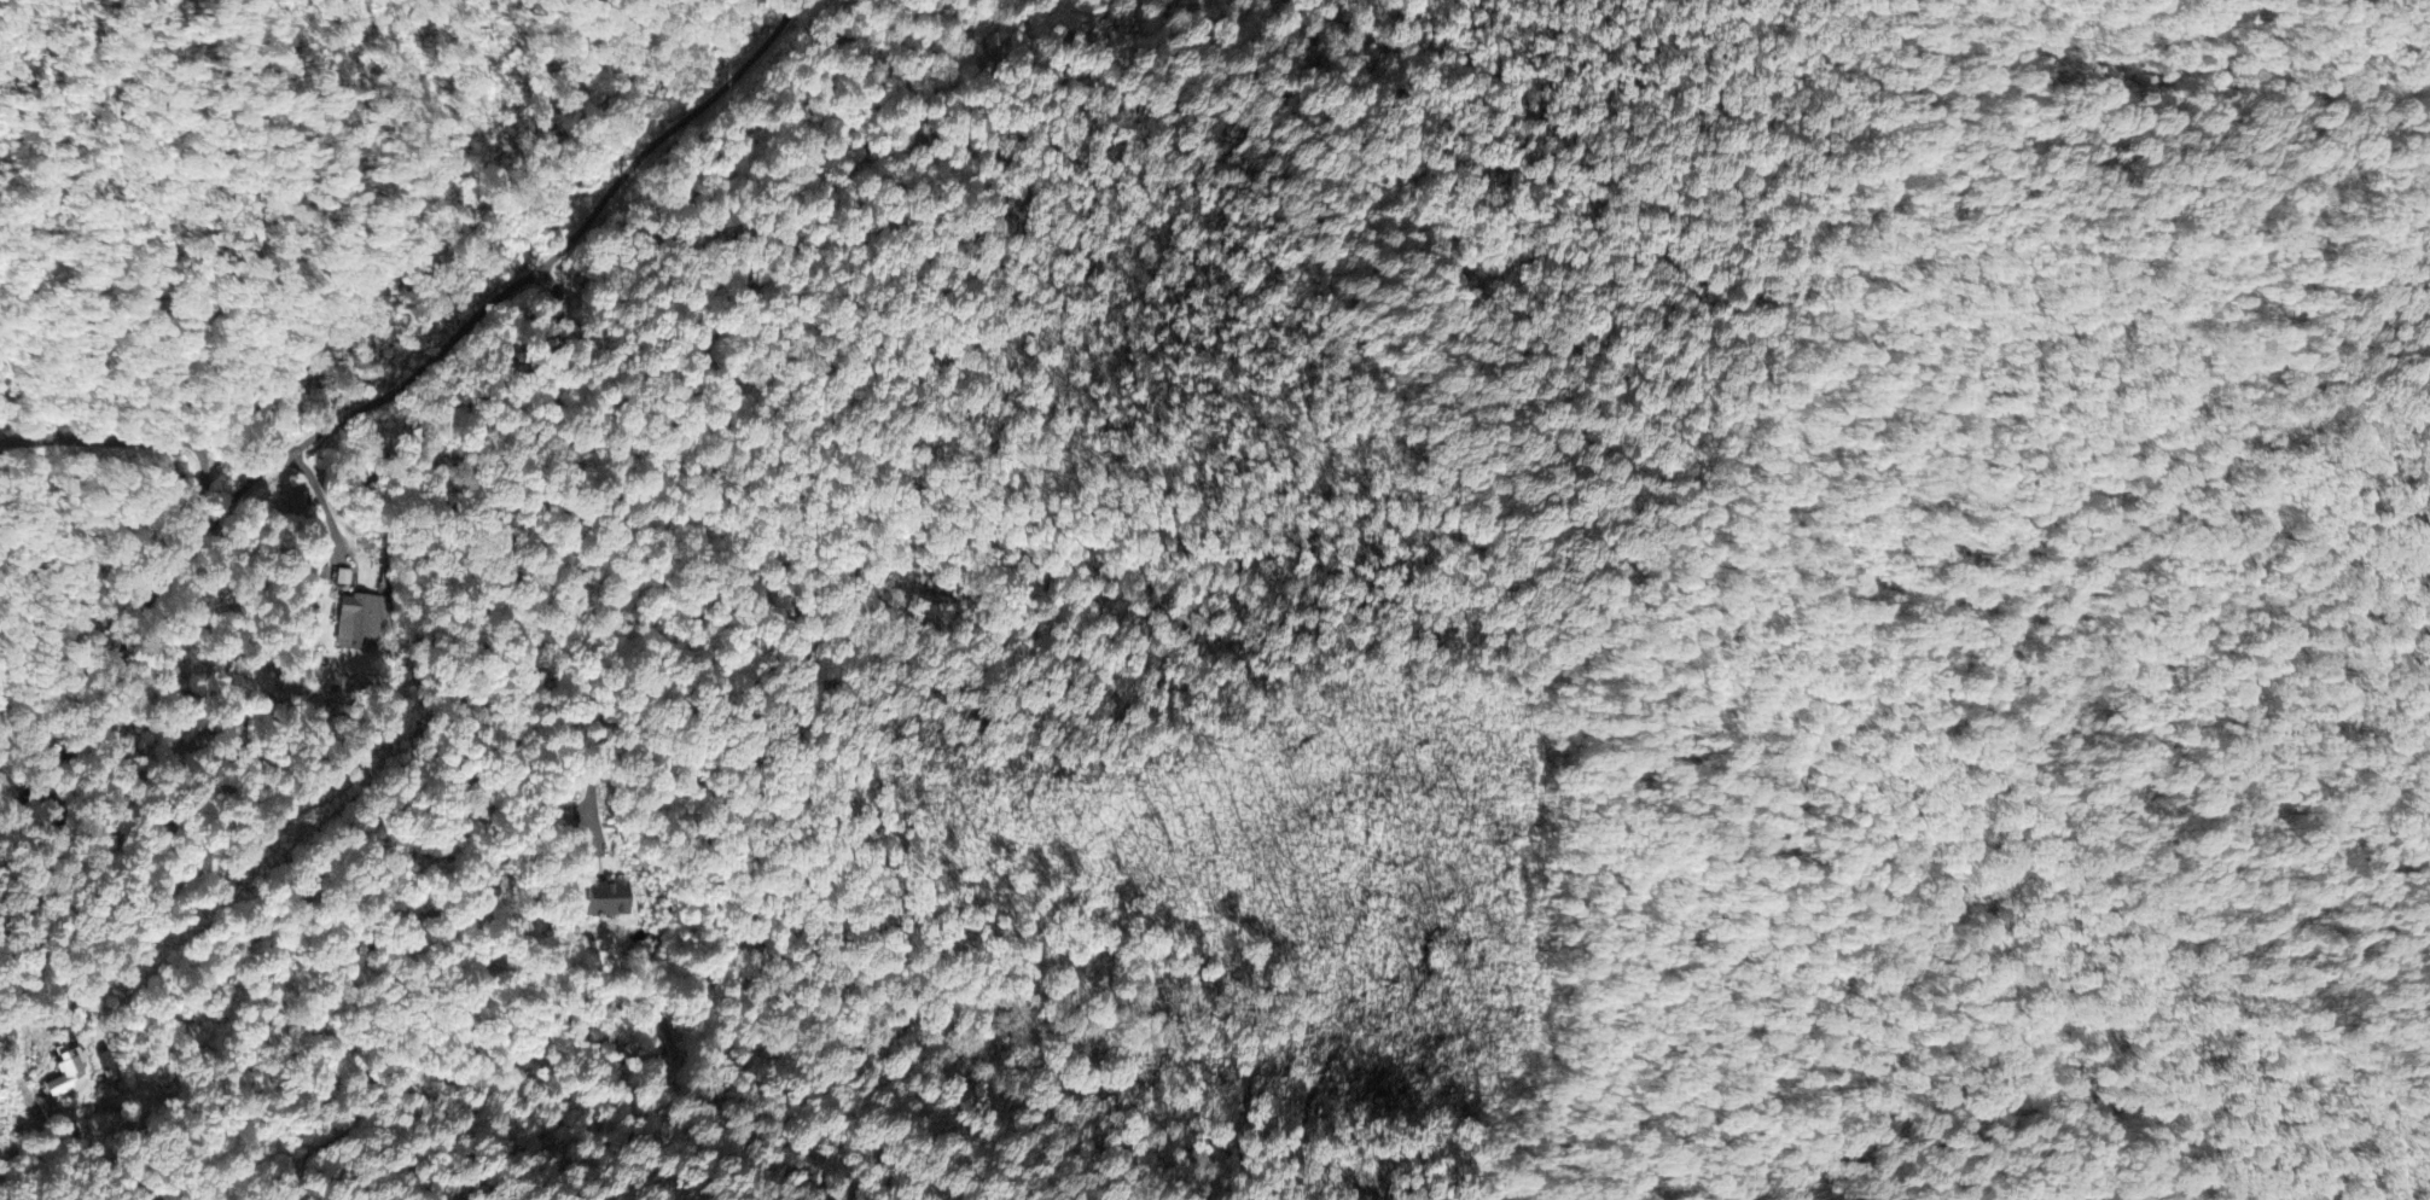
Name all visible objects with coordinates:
road: (380, 398)
road: (168, 438)
road: (571, 555)
building: (361, 614)
road: (35, 885)
building: (609, 895)
building: (106, 1061)
building: (70, 1064)

